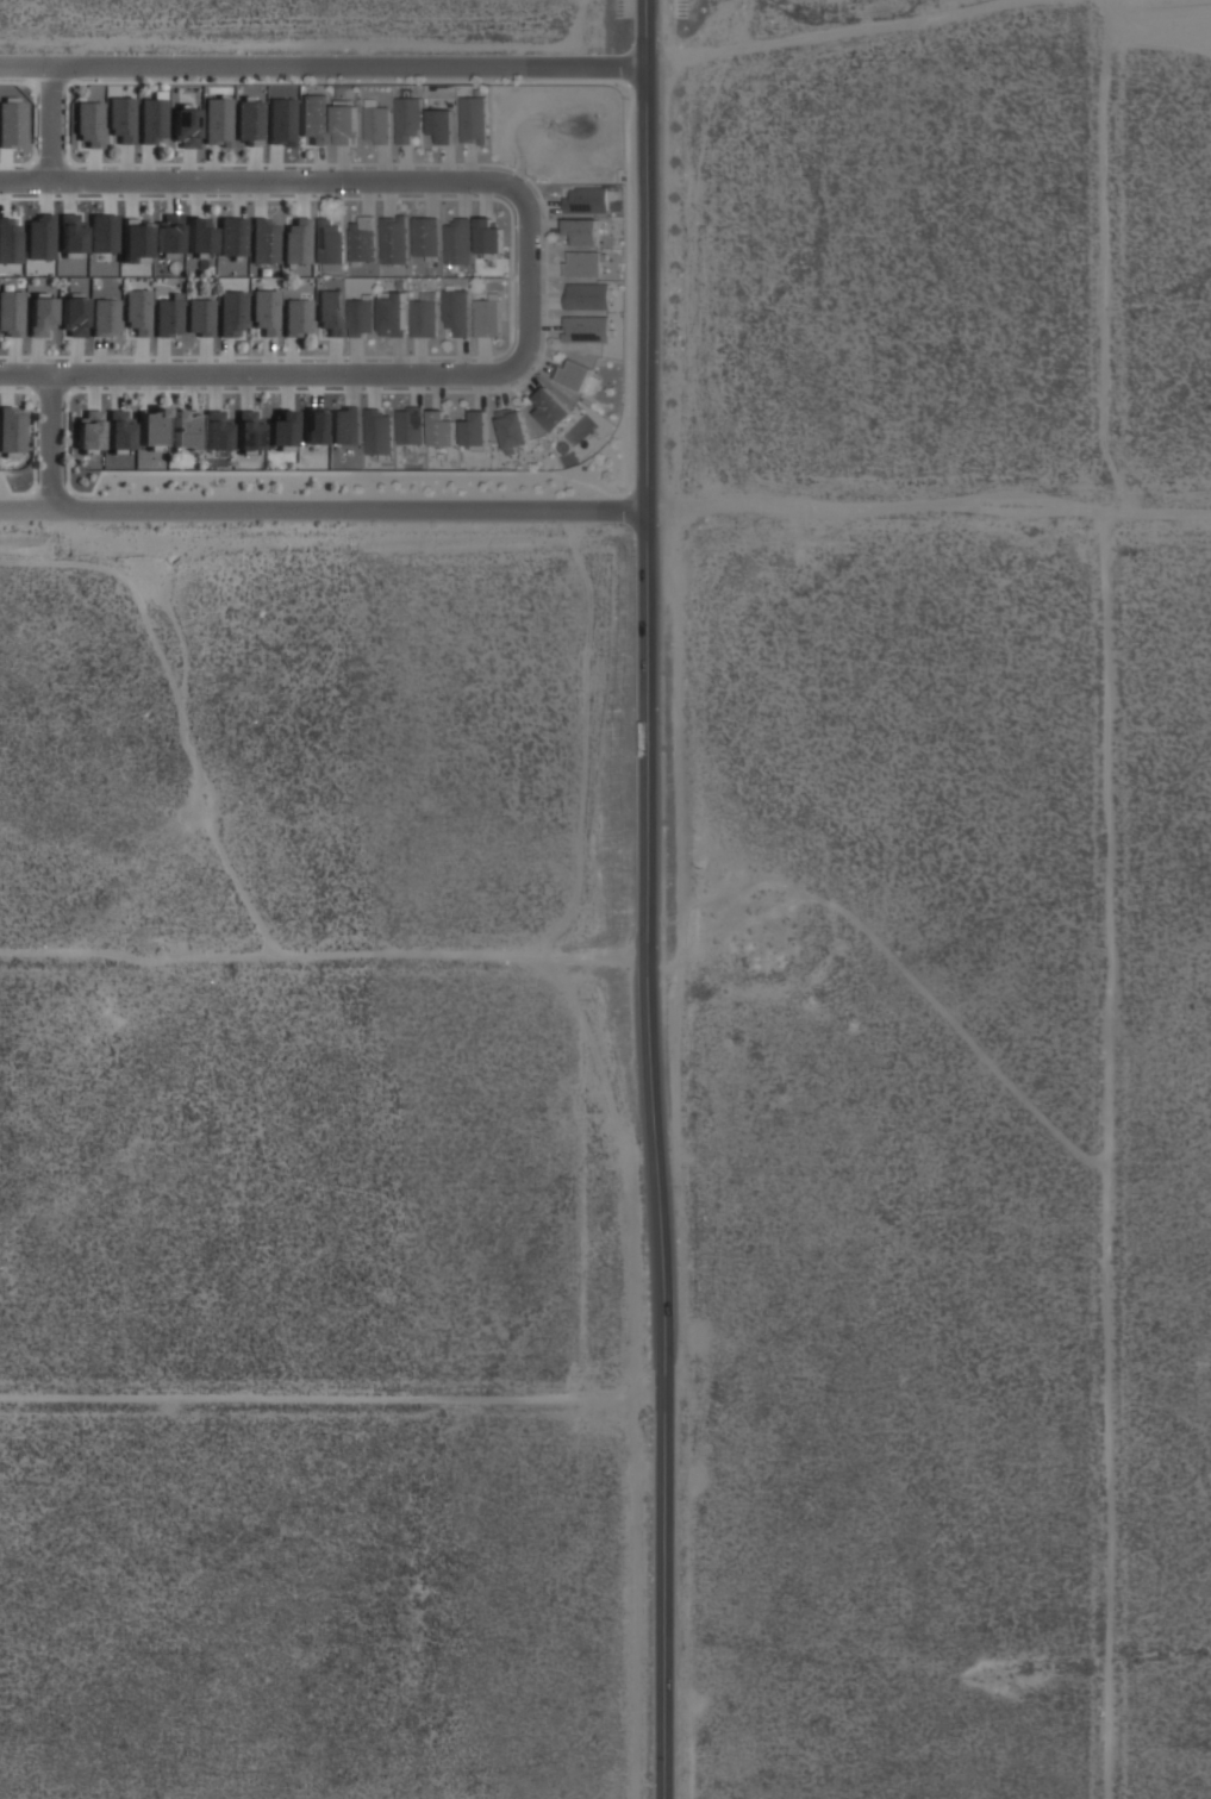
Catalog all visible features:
road: (324, 69)
building: (120, 119)
building: (408, 119)
building: (151, 120)
building: (248, 120)
building: (474, 120)
building: (10, 121)
building: (216, 121)
building: (280, 121)
building: (88, 124)
road: (50, 125)
building: (345, 125)
building: (377, 125)
building: (443, 125)
building: (185, 127)
road: (514, 146)
road: (125, 164)
road: (145, 164)
road: (211, 164)
road: (252, 164)
road: (274, 164)
road: (319, 164)
road: (341, 164)
road: (382, 164)
road: (447, 164)
road: (468, 164)
road: (94, 165)
road: (188, 165)
road: (405, 165)
road: (4, 167)
road: (171, 194)
road: (302, 195)
road: (366, 195)
road: (483, 195)
road: (1, 196)
road: (131, 196)
road: (194, 196)
road: (238, 196)
road: (258, 196)
road: (324, 196)
road: (388, 196)
road: (430, 196)
road: (462, 196)
building: (588, 198)
road: (542, 206)
building: (101, 223)
road: (543, 226)
building: (582, 232)
building: (169, 233)
building: (424, 236)
building: (199, 237)
building: (232, 237)
building: (487, 237)
building: (39, 238)
building: (70, 238)
building: (361, 239)
building: (264, 241)
building: (392, 241)
building: (456, 241)
building: (10, 242)
building: (136, 242)
building: (296, 242)
building: (327, 244)
building: (586, 263)
road: (544, 268)
road: (526, 279)
building: (586, 296)
road: (543, 301)
building: (136, 312)
building: (264, 312)
building: (329, 312)
building: (457, 312)
building: (10, 313)
building: (231, 314)
building: (392, 314)
building: (168, 316)
building: (104, 317)
building: (199, 317)
building: (295, 317)
building: (38, 318)
building: (73, 318)
building: (360, 318)
building: (488, 318)
building: (424, 319)
road: (542, 323)
road: (11, 357)
road: (36, 357)
road: (96, 357)
road: (139, 357)
road: (162, 357)
road: (268, 357)
road: (291, 357)
road: (355, 357)
road: (74, 358)
road: (204, 358)
road: (226, 358)
road: (333, 358)
road: (398, 358)
road: (419, 358)
road: (462, 358)
road: (482, 358)
street lamp: (475, 362)
road: (538, 362)
building: (574, 374)
road: (524, 376)
road: (5, 387)
road: (352, 387)
road: (416, 387)
road: (94, 388)
road: (116, 388)
road: (148, 388)
road: (188, 388)
road: (285, 388)
road: (216, 389)
road: (245, 389)
road: (372, 389)
road: (436, 389)
road: (480, 389)
road: (500, 389)
building: (550, 408)
building: (345, 426)
building: (152, 427)
building: (376, 427)
building: (439, 429)
building: (511, 429)
building: (11, 430)
building: (89, 430)
building: (119, 430)
building: (474, 430)
building: (185, 431)
building: (217, 431)
building: (249, 431)
building: (281, 431)
road: (48, 443)
road: (325, 513)
road: (930, 514)
road: (650, 899)
road: (325, 968)
road: (1118, 1157)

